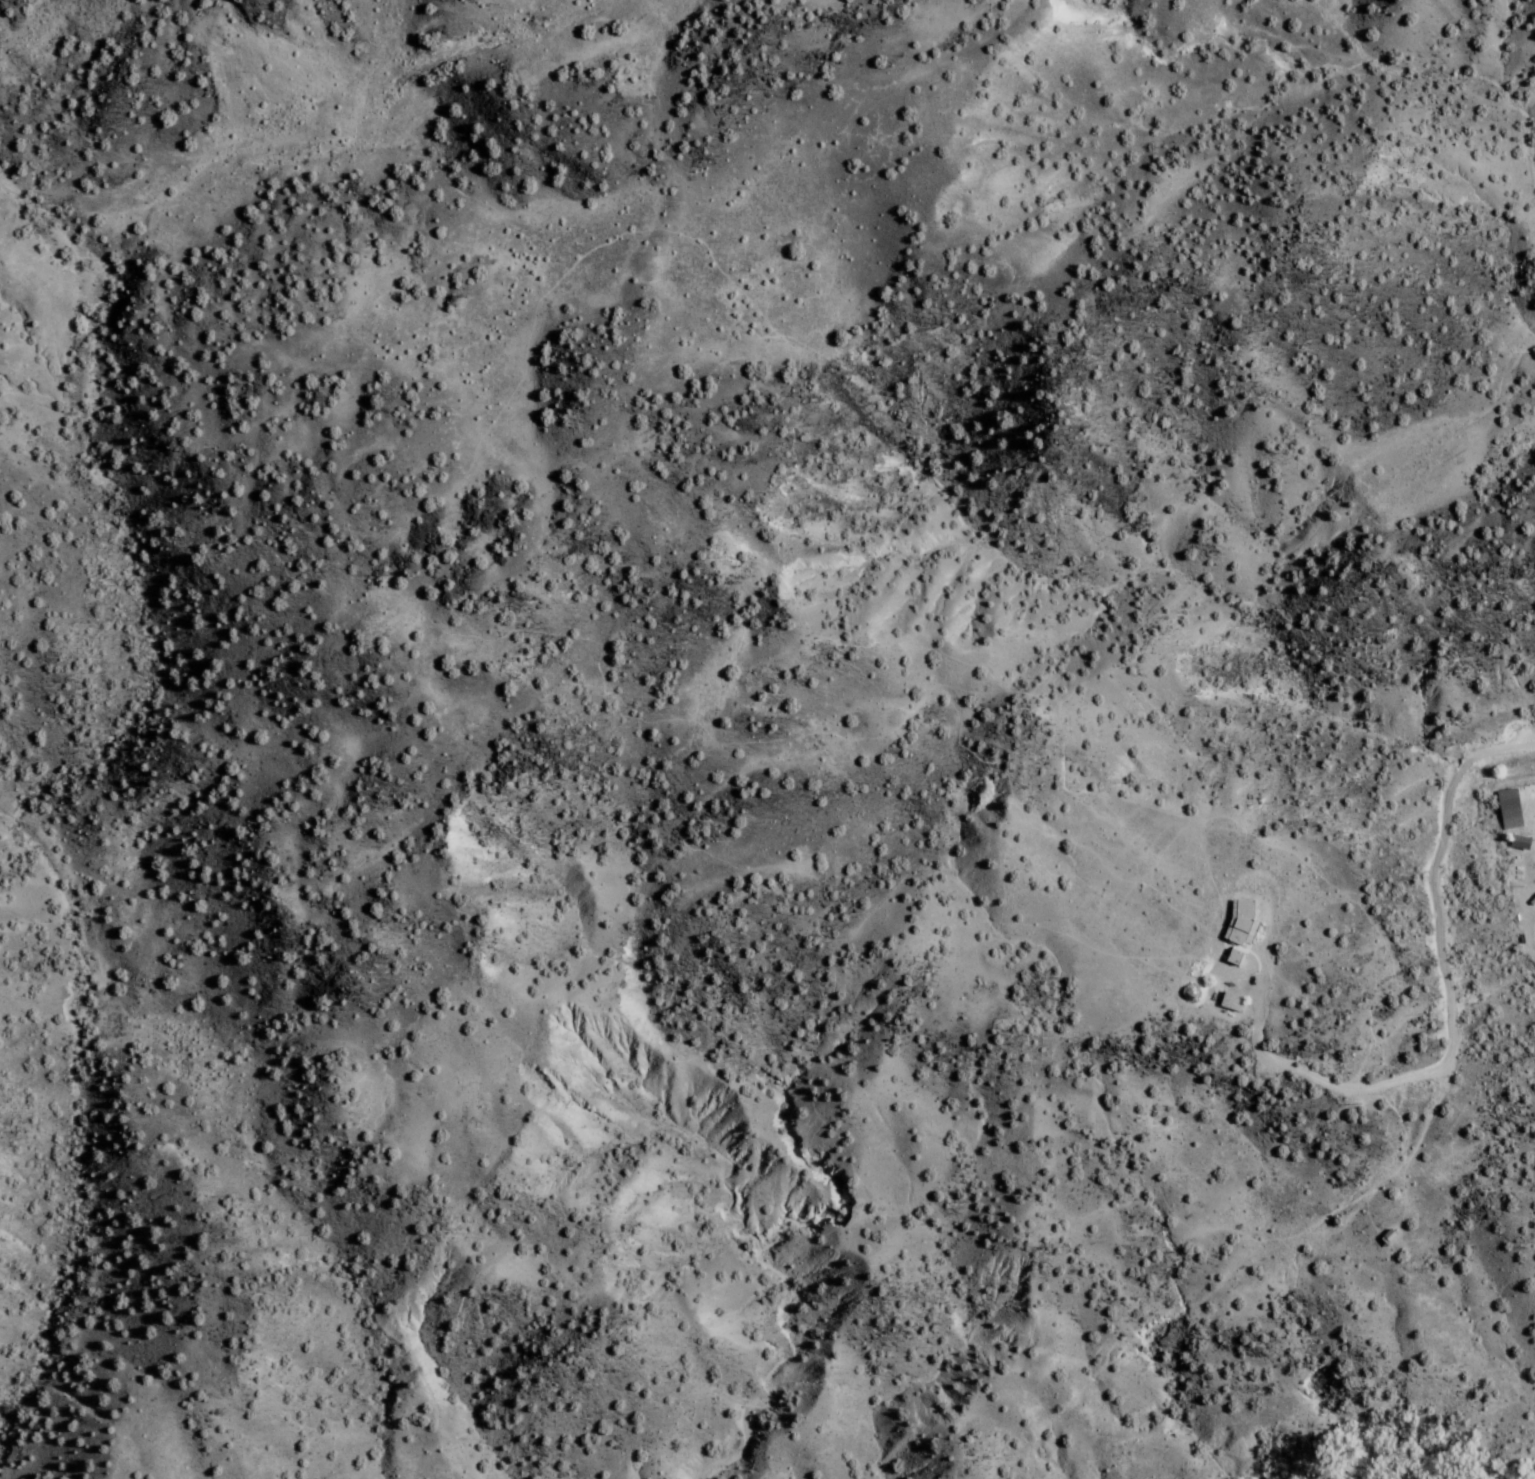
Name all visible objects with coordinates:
building: (1505, 807)
building: (1516, 840)
road: (405, 909)
building: (1237, 923)
building: (1230, 955)
building: (1227, 1000)

